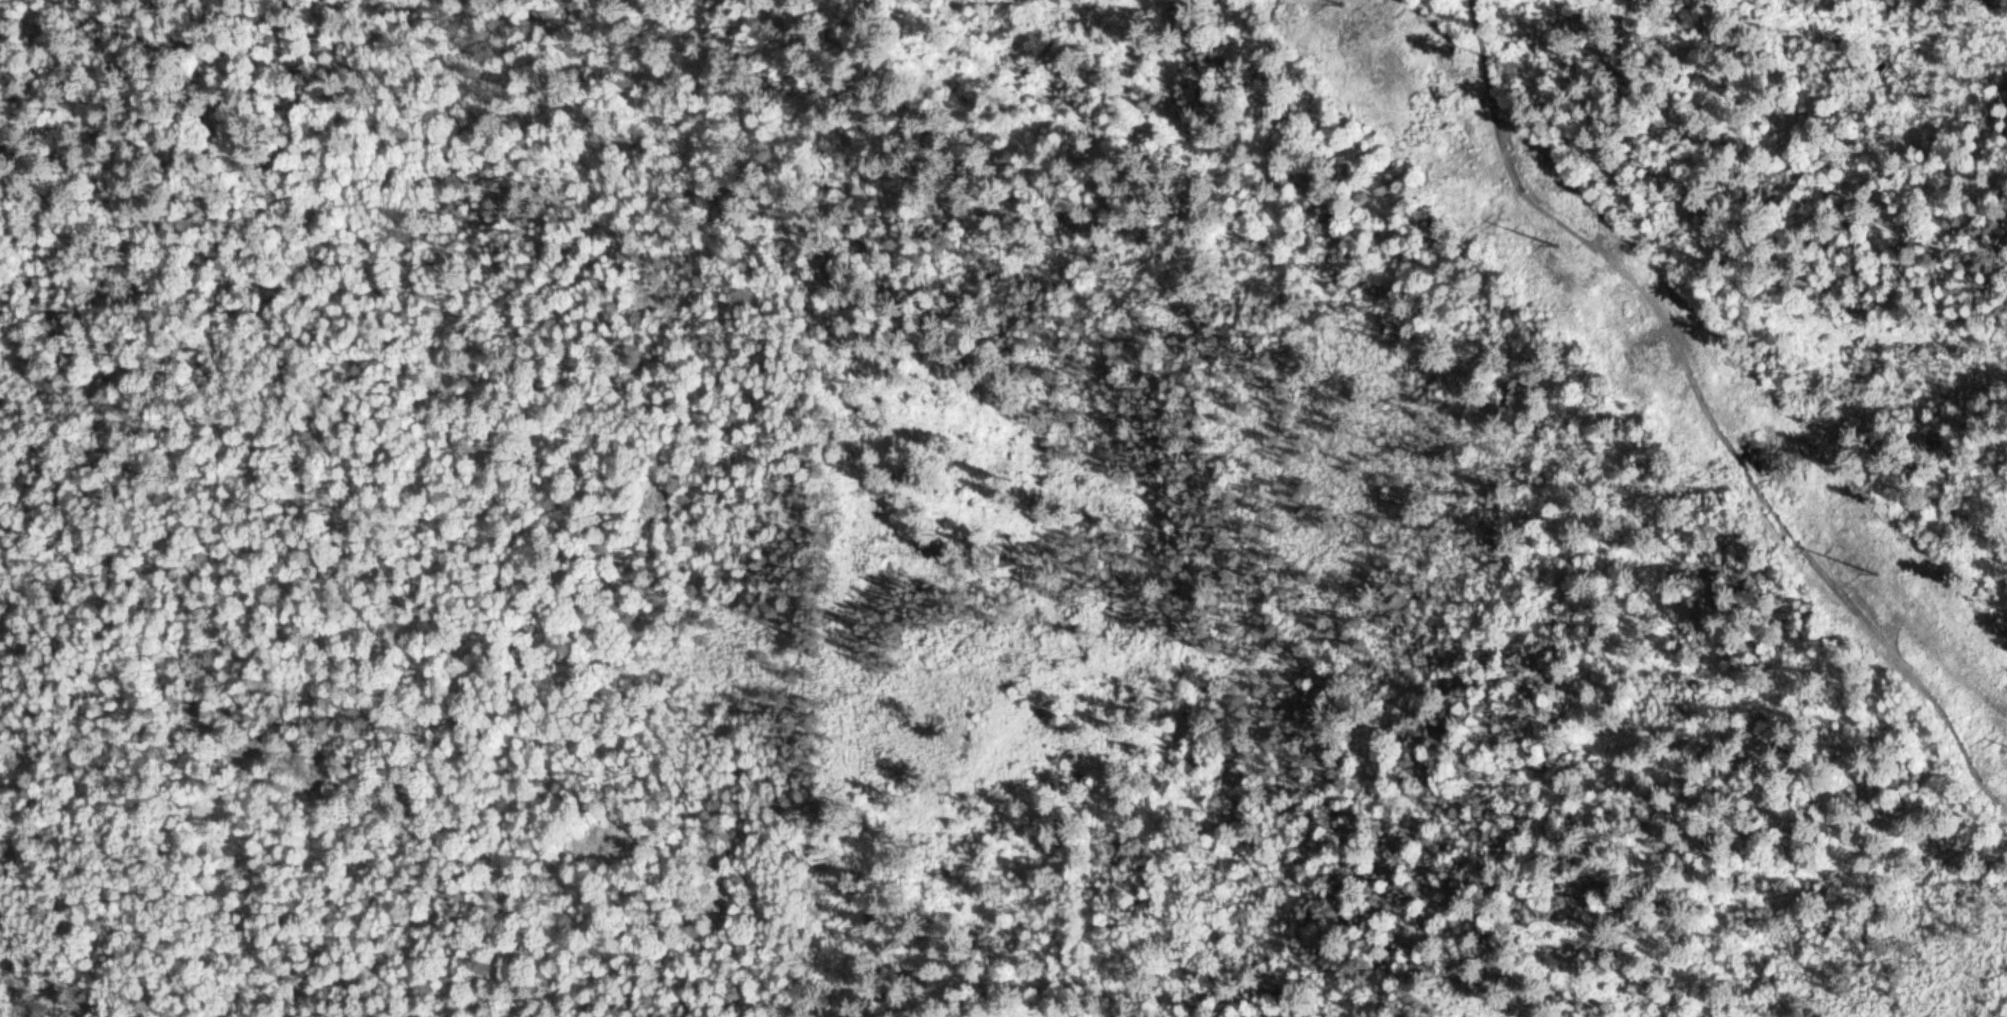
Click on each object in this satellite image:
power tower: (1344, 3)
power tower: (1558, 245)
road: (1699, 324)
power tower: (1878, 572)

